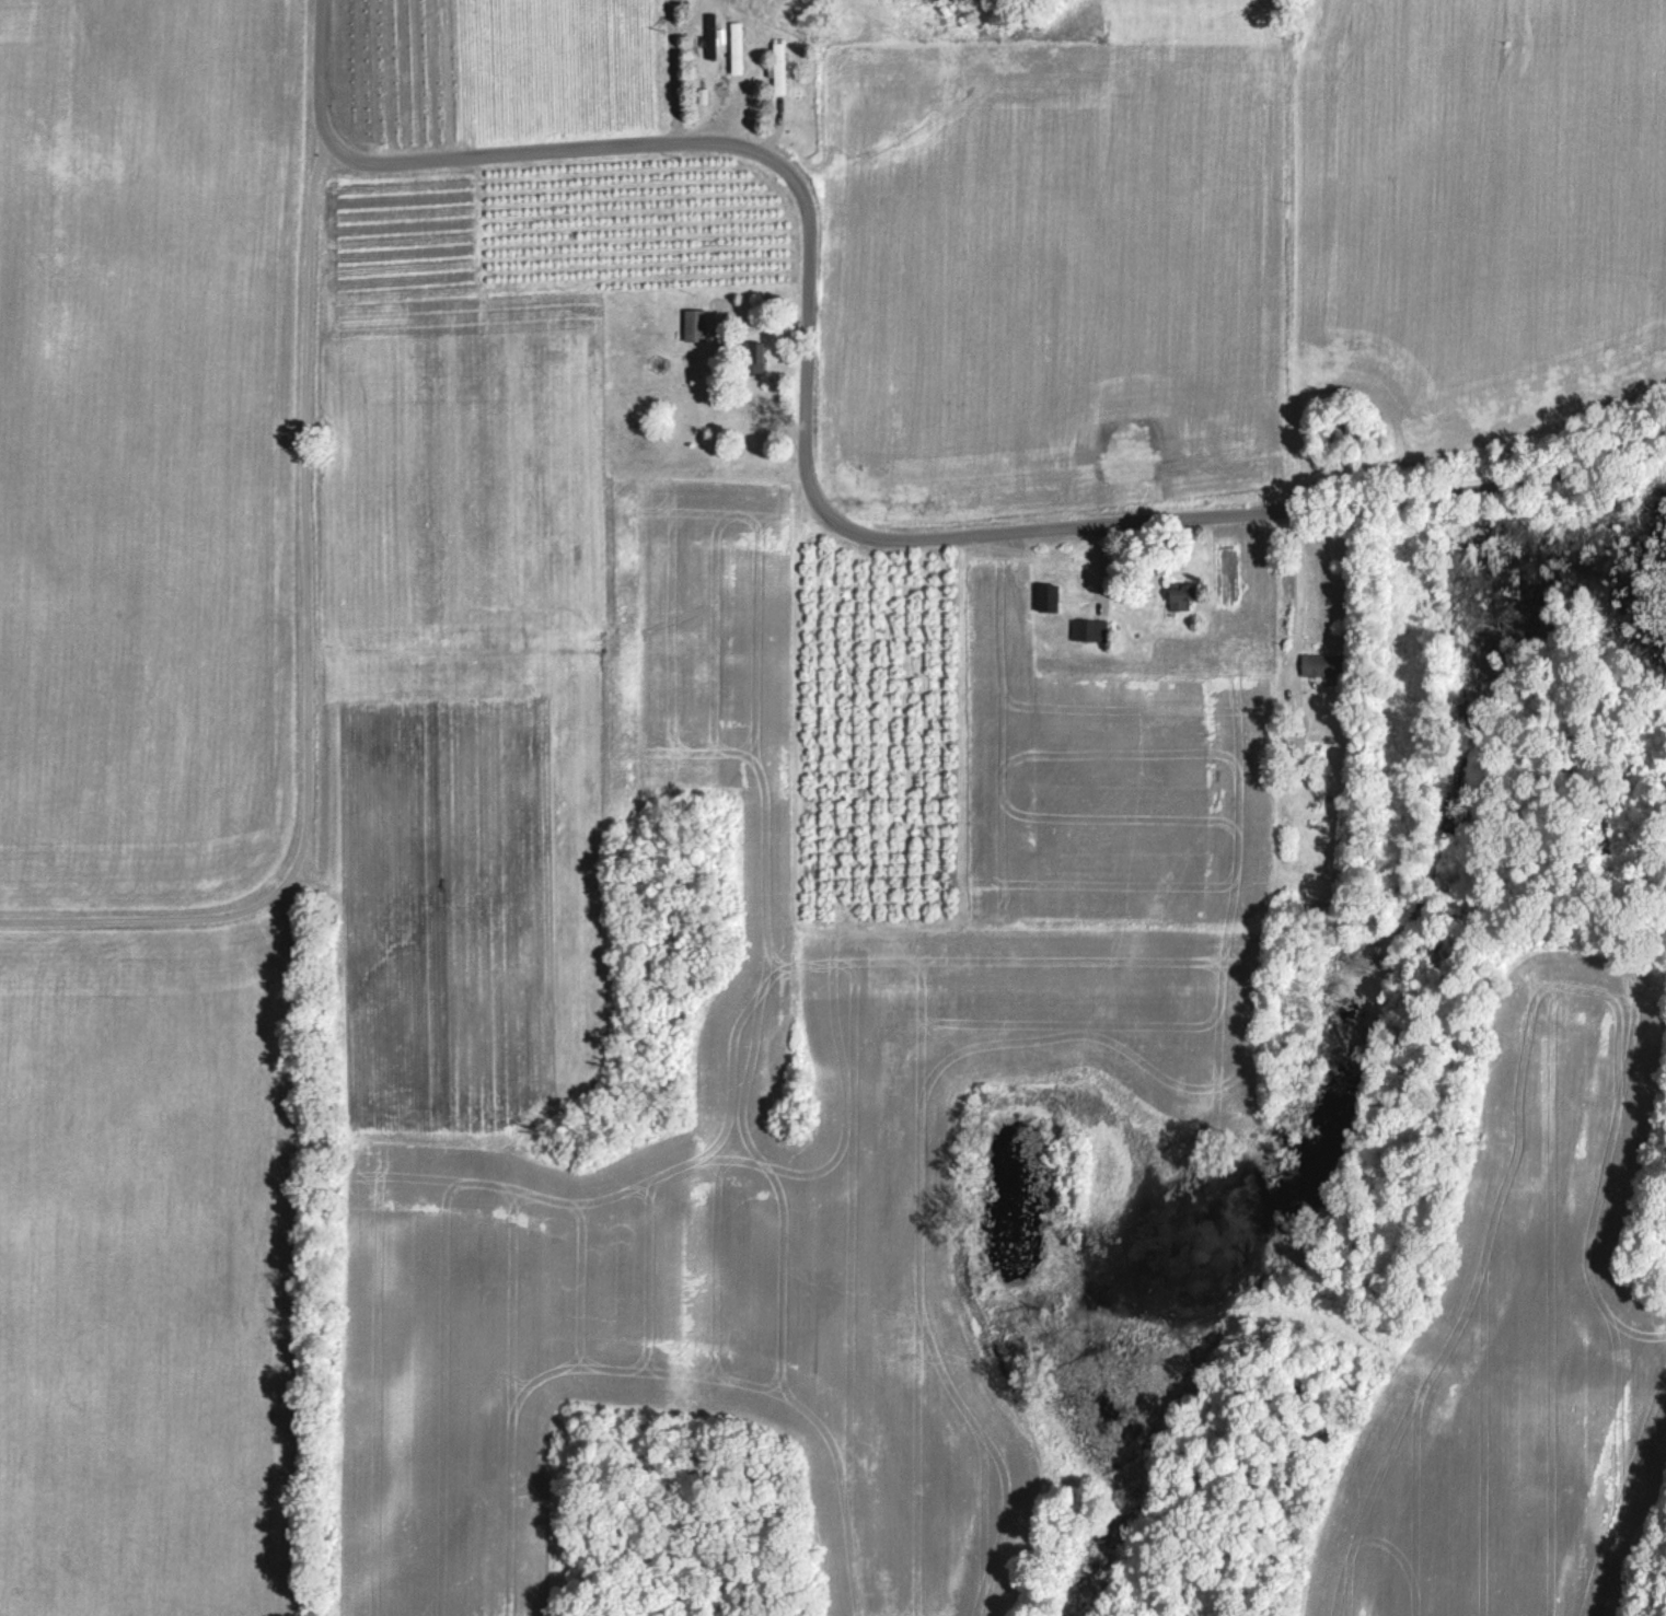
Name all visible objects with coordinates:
building: (710, 35)
building: (778, 63)
building: (693, 325)
building: (752, 357)
road: (806, 463)
road: (1296, 589)
building: (1045, 592)
building: (1178, 596)
building: (1087, 629)
road: (306, 651)
building: (1322, 664)

